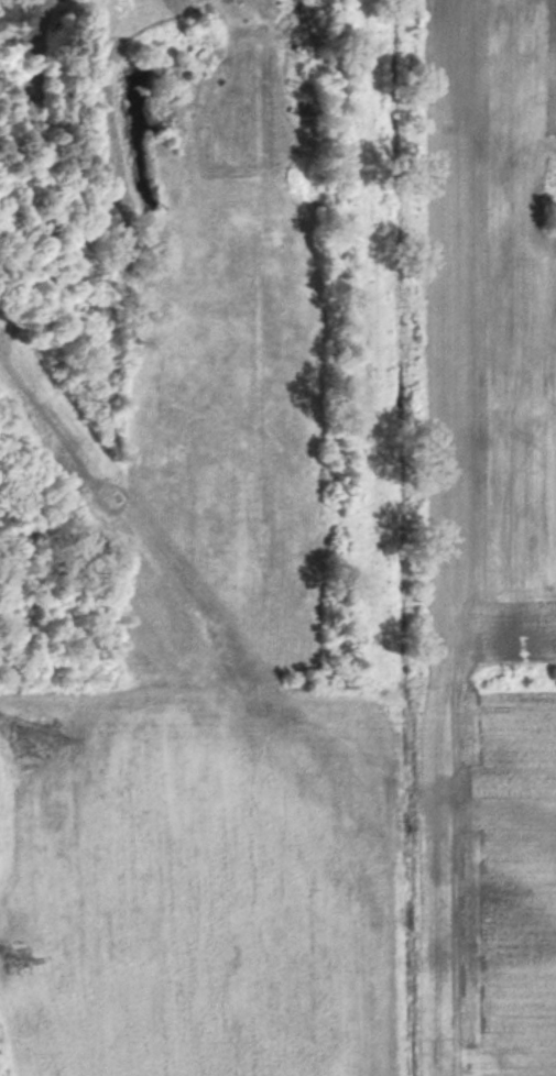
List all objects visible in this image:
power tower: (35, 743)
power tower: (17, 958)

